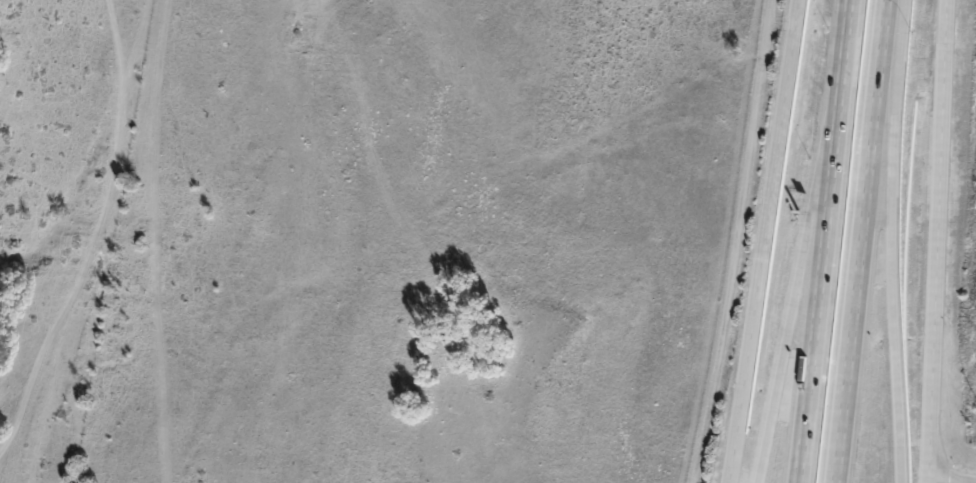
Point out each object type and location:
road: (846, 16)
road: (855, 240)
road: (763, 241)
road: (893, 241)
road: (936, 241)
road: (798, 257)
road: (820, 257)

